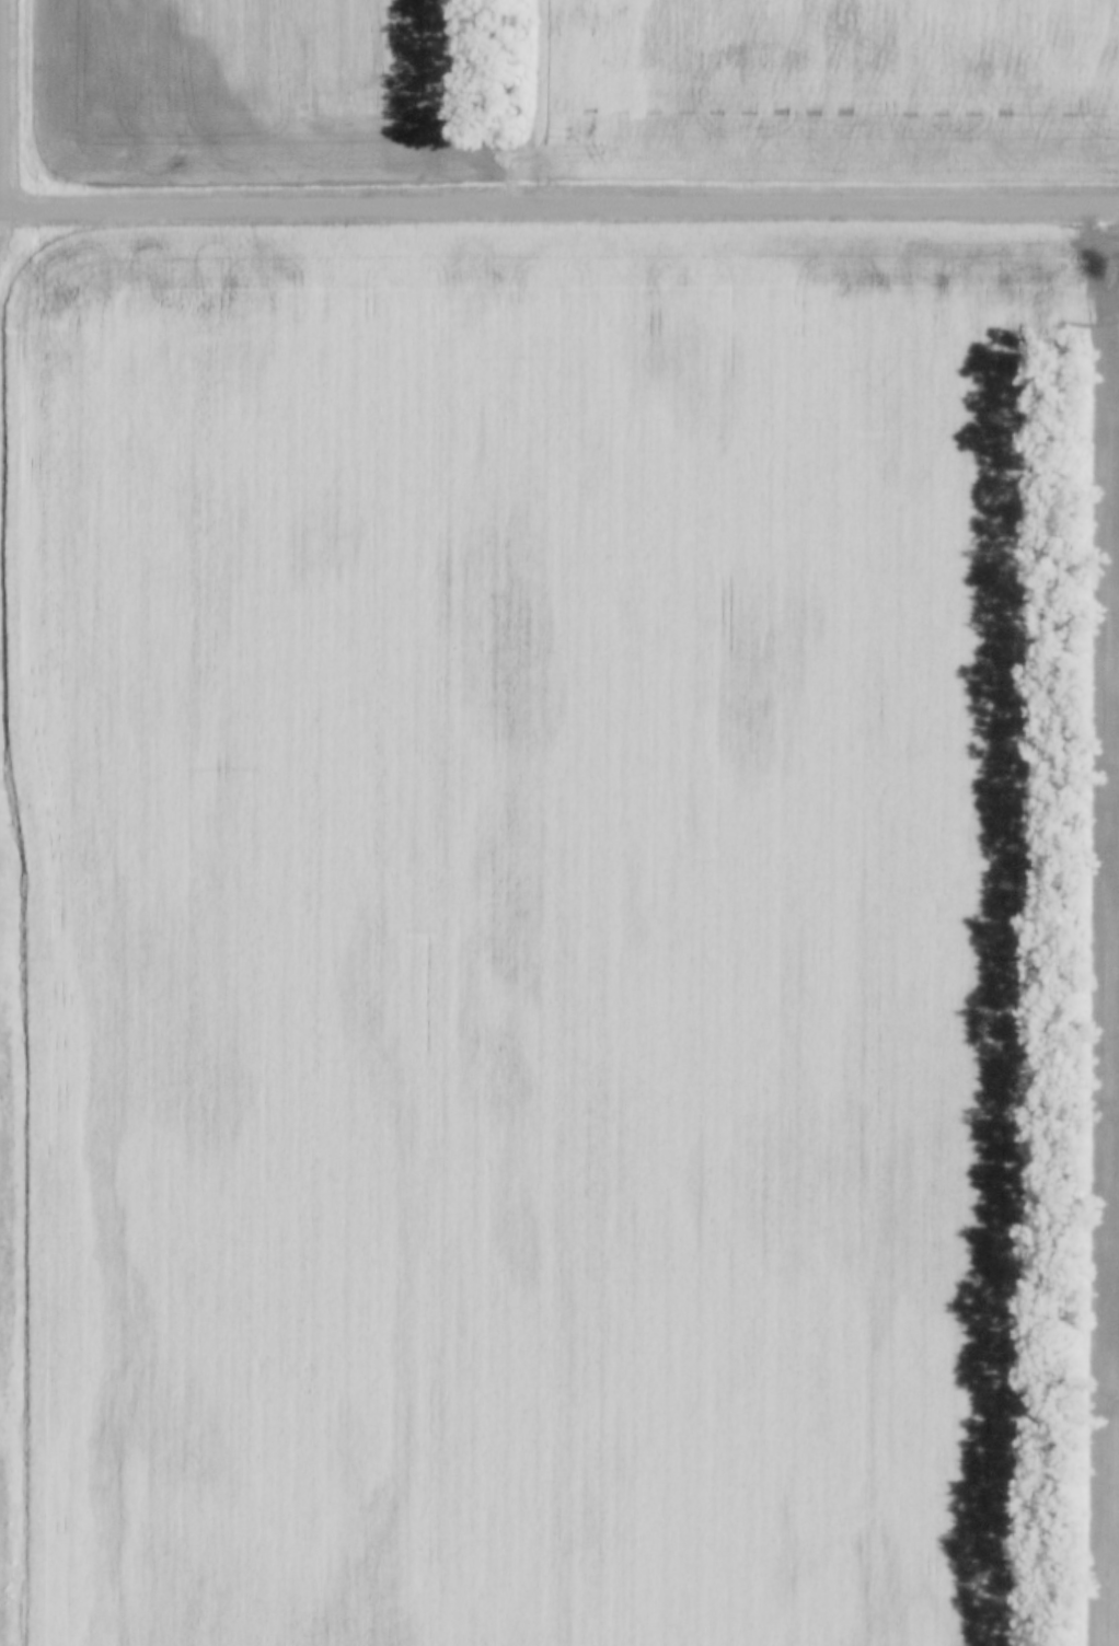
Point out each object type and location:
road: (1, 106)
road: (558, 210)

